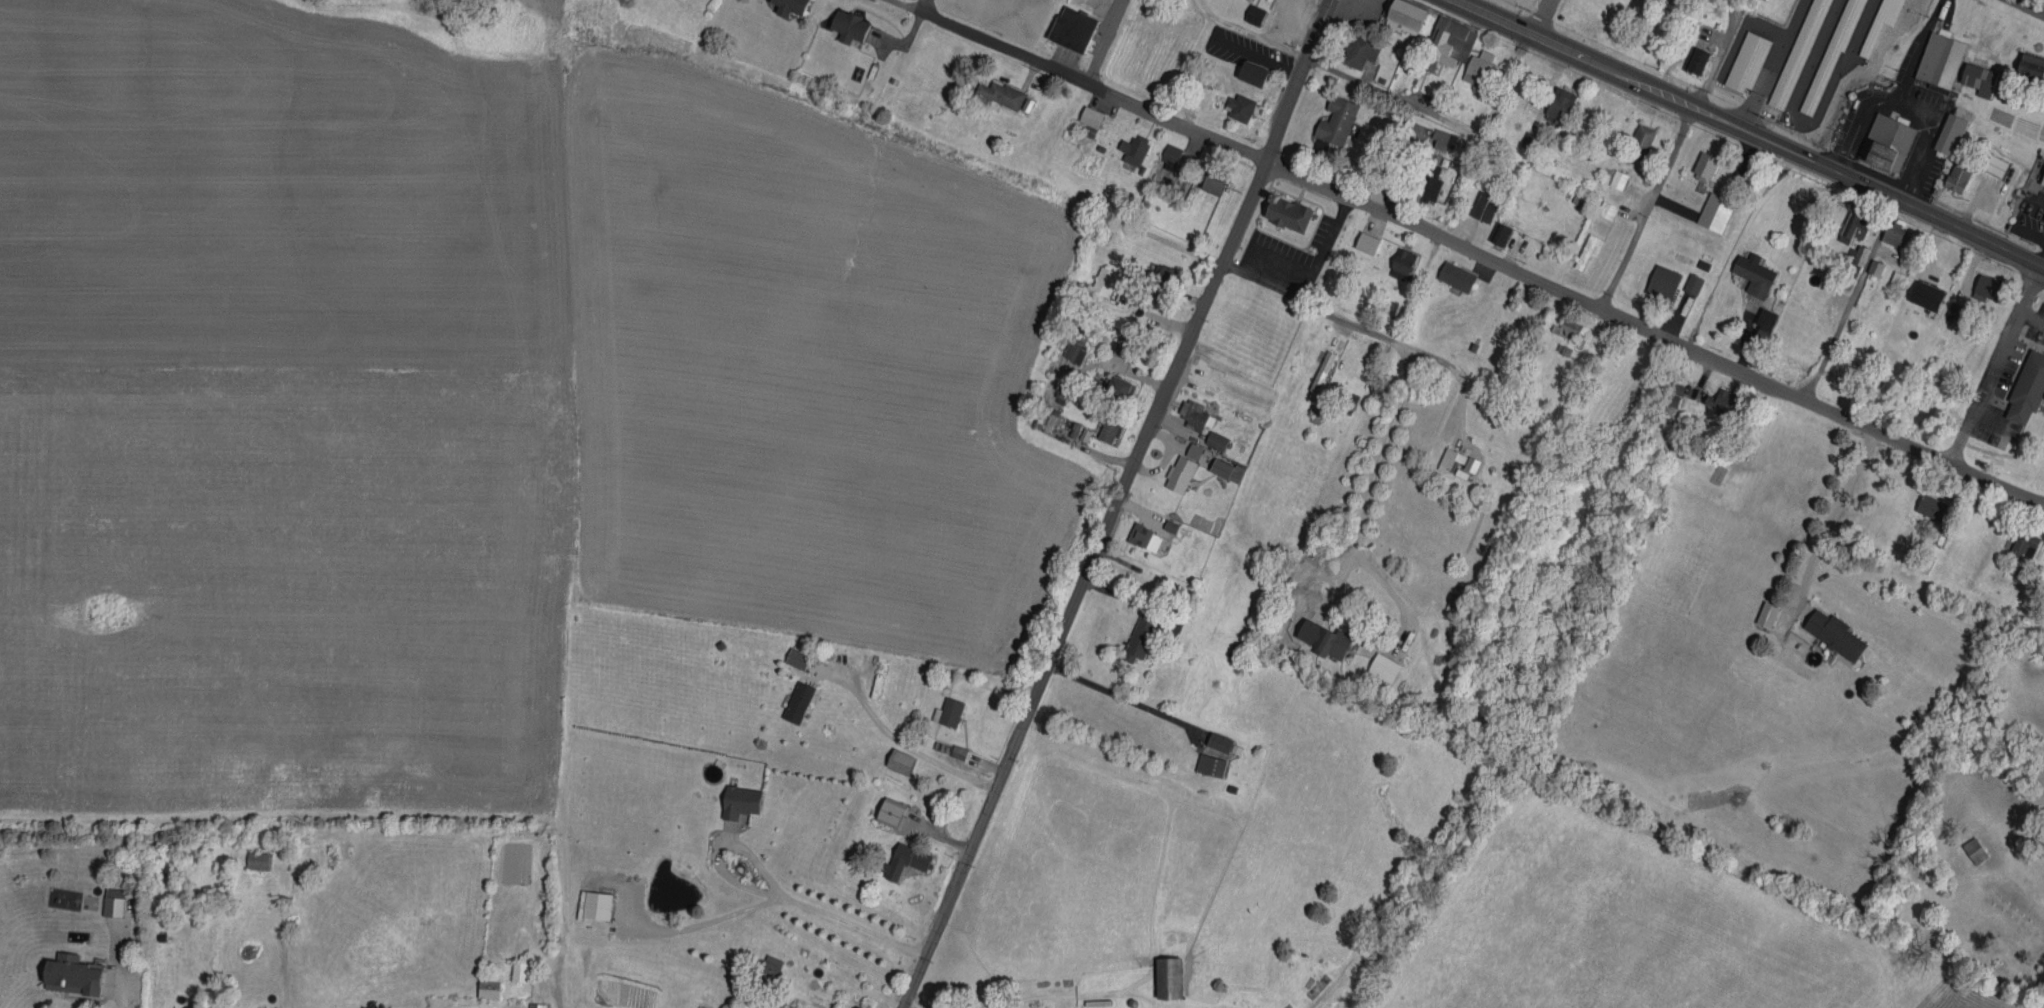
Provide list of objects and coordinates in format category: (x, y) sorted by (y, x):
building: (783, 5)
road: (925, 6)
road: (2028, 7)
building: (1249, 11)
building: (1400, 14)
road: (1547, 18)
building: (1875, 21)
building: (843, 22)
building: (1067, 25)
building: (1457, 38)
building: (1437, 39)
road: (1109, 42)
road: (1355, 42)
building: (1355, 47)
road: (1915, 47)
building: (1793, 52)
building: (1693, 56)
building: (1935, 56)
building: (1743, 58)
building: (1473, 62)
building: (2028, 62)
building: (1246, 69)
building: (1973, 75)
road: (1082, 81)
building: (996, 90)
road: (1382, 92)
building: (1555, 99)
road: (1913, 103)
building: (1235, 104)
building: (1085, 112)
building: (1332, 117)
road: (1857, 125)
building: (1944, 130)
road: (1751, 131)
building: (1438, 135)
building: (1524, 137)
building: (1636, 137)
building: (1882, 139)
building: (1129, 145)
building: (1165, 152)
road: (1672, 154)
building: (1990, 162)
building: (1699, 163)
building: (2040, 173)
building: (1952, 174)
building: (1613, 176)
building: (1424, 180)
building: (1206, 181)
building: (1480, 203)
building: (1603, 206)
building: (1710, 208)
building: (1283, 210)
building: (1848, 220)
building: (1495, 230)
building: (1887, 230)
building: (1361, 239)
building: (1584, 247)
building: (1855, 251)
road: (1872, 256)
road: (2040, 256)
building: (1396, 260)
building: (1870, 264)
building: (1157, 268)
building: (1749, 271)
building: (1451, 273)
building: (1894, 276)
building: (1099, 277)
road: (1306, 279)
building: (1658, 279)
building: (1688, 281)
building: (1983, 283)
building: (1921, 292)
building: (1759, 322)
road: (1358, 326)
building: (1562, 326)
road: (1655, 331)
building: (1118, 343)
building: (1070, 345)
road: (1994, 362)
road: (1455, 370)
building: (1114, 384)
building: (2024, 384)
building: (1669, 391)
building: (1717, 397)
building: (1188, 410)
building: (1103, 426)
building: (1211, 437)
building: (1189, 447)
building: (1452, 458)
building: (1222, 466)
building: (1175, 471)
road: (1373, 480)
building: (1926, 503)
road: (1120, 504)
road: (1833, 514)
building: (1139, 534)
building: (2020, 540)
building: (1762, 611)
building: (1830, 631)
building: (1135, 633)
building: (1319, 636)
building: (791, 654)
building: (1378, 664)
road: (1121, 694)
building: (793, 699)
building: (943, 709)
building: (1214, 738)
road: (904, 749)
building: (954, 749)
building: (894, 758)
building: (1206, 761)
building: (734, 798)
building: (884, 808)
building: (1969, 847)
building: (252, 856)
building: (901, 857)
building: (108, 899)
building: (589, 902)
road: (798, 909)
building: (764, 965)
building: (514, 968)
building: (65, 972)
building: (1163, 975)
building: (484, 982)
building: (532, 1003)
building: (830, 1006)
road: (955, 1007)

